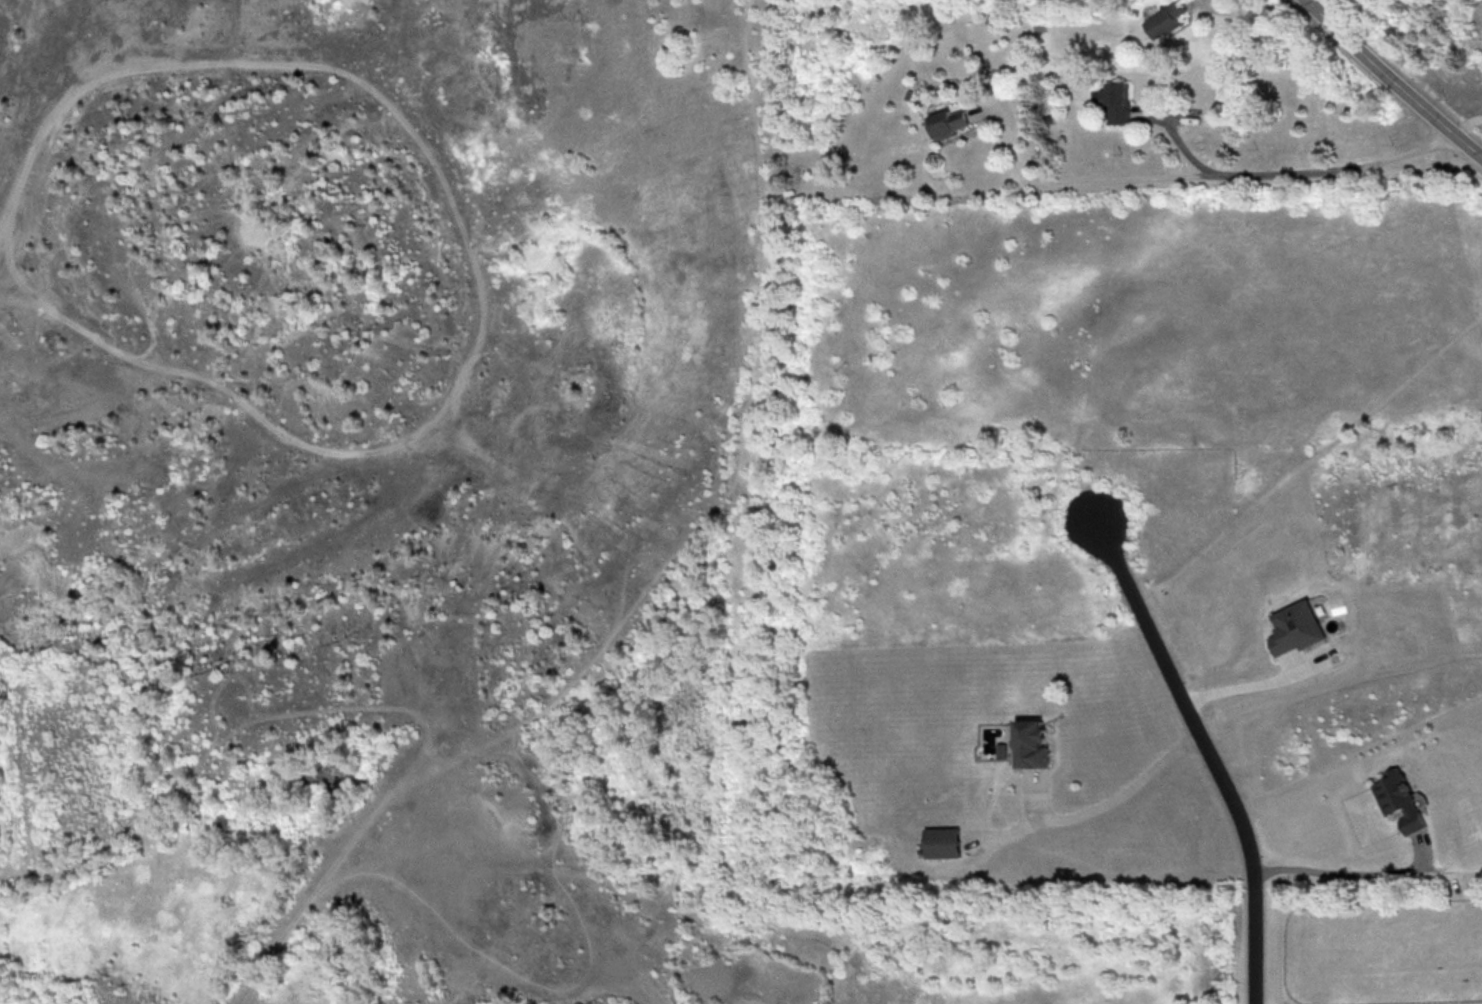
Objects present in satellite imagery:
road: (1247, 13)
building: (1161, 20)
road: (1392, 80)
building: (1115, 102)
building: (945, 121)
road: (1467, 124)
road: (1200, 174)
building: (1036, 743)
road: (1210, 755)
road: (1125, 793)
building: (1403, 799)
building: (945, 842)
road: (1331, 873)

